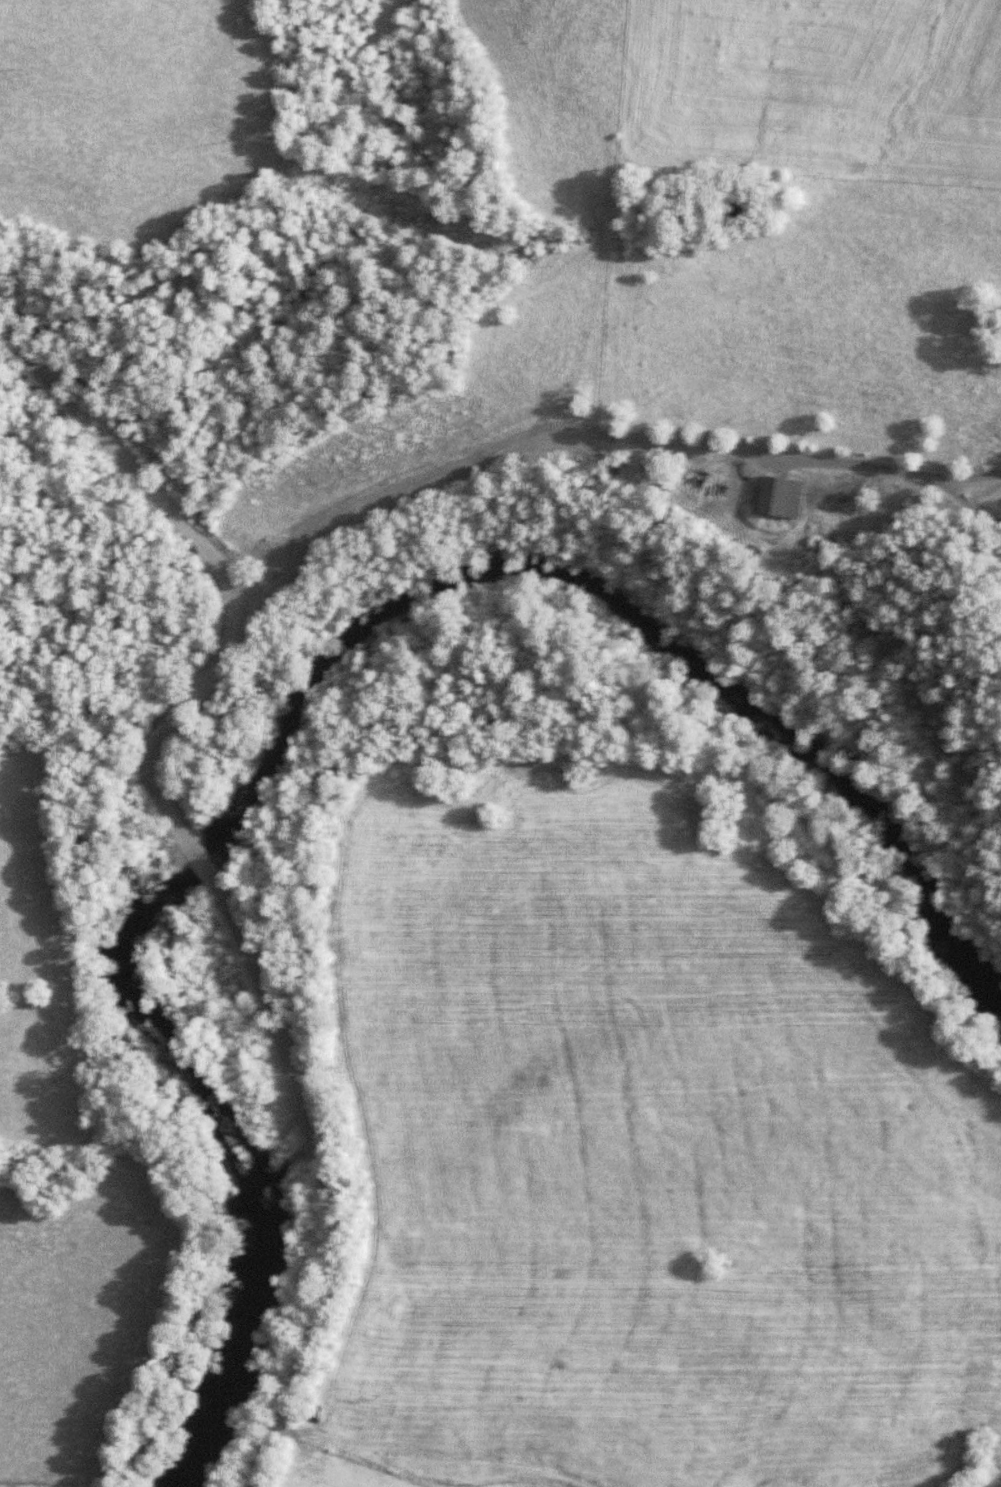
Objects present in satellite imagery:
road: (378, 508)
road: (197, 863)

